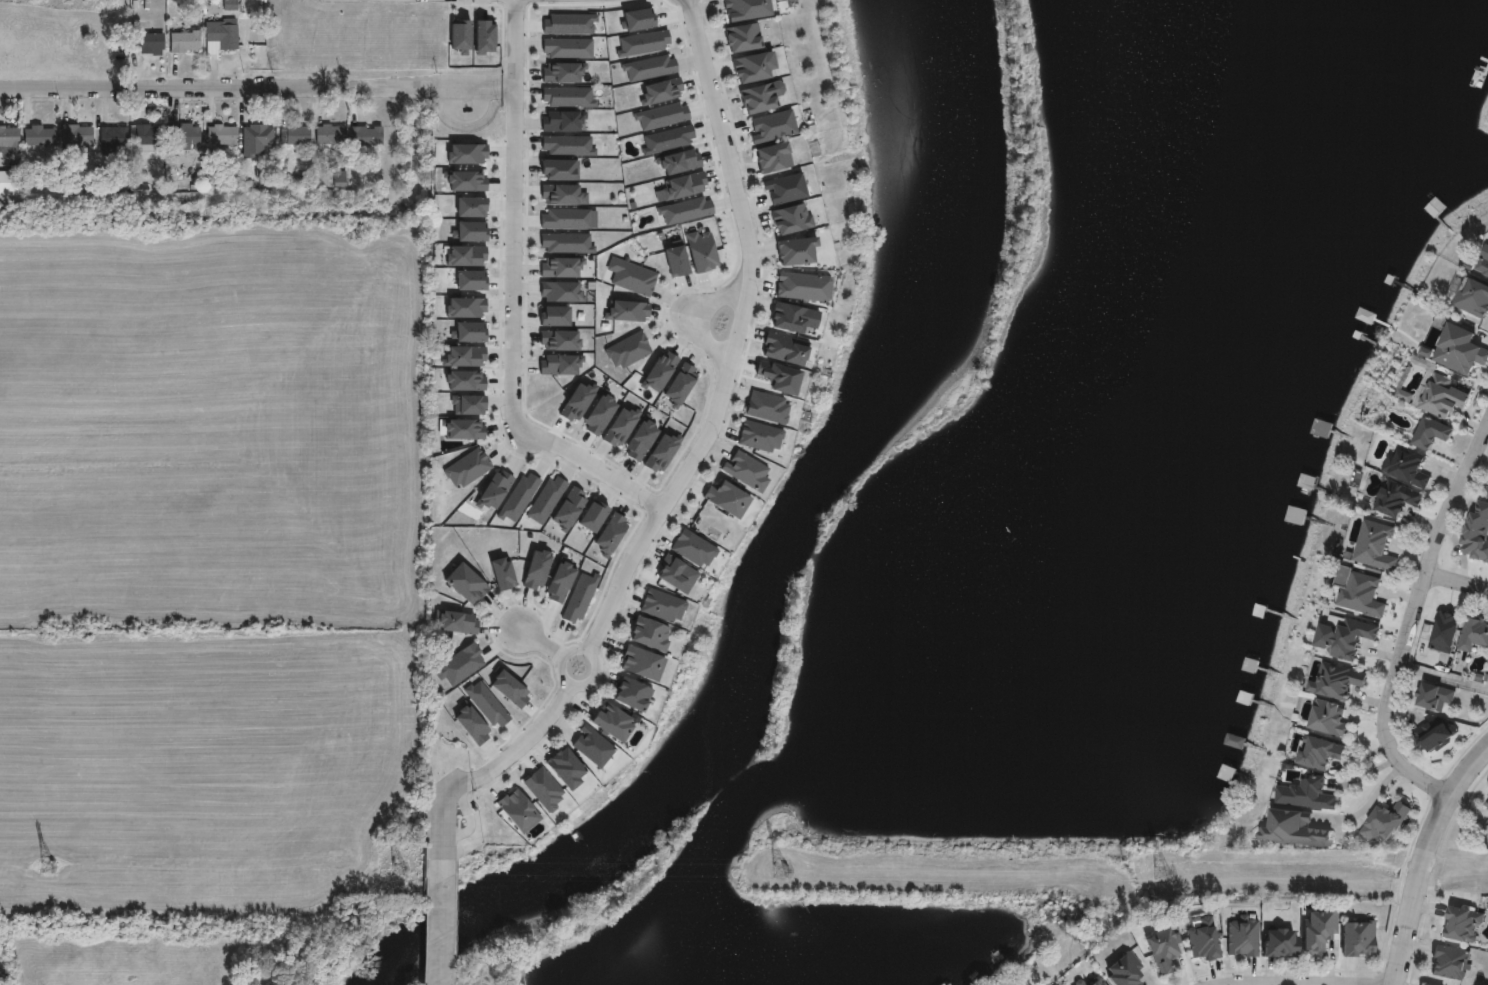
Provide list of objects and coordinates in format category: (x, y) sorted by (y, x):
building: (747, 9)
building: (221, 32)
building: (744, 38)
building: (183, 41)
building: (148, 42)
building: (644, 43)
building: (566, 48)
building: (650, 67)
building: (752, 69)
road: (232, 92)
road: (489, 92)
building: (569, 96)
building: (759, 99)
road: (464, 102)
building: (660, 116)
building: (563, 120)
building: (773, 127)
building: (295, 134)
building: (37, 135)
building: (145, 135)
building: (184, 135)
building: (220, 135)
building: (329, 135)
building: (364, 136)
building: (8, 137)
building: (73, 137)
building: (110, 137)
building: (254, 139)
building: (774, 158)
building: (557, 170)
building: (264, 172)
building: (339, 179)
building: (467, 181)
building: (685, 185)
building: (786, 190)
building: (1433, 207)
building: (685, 211)
building: (793, 219)
building: (472, 231)
building: (565, 244)
building: (702, 250)
building: (798, 253)
building: (676, 258)
building: (633, 279)
building: (800, 287)
building: (562, 291)
road: (515, 295)
building: (1472, 297)
road: (689, 313)
building: (789, 319)
building: (470, 331)
road: (736, 335)
building: (1459, 349)
building: (629, 350)
building: (775, 351)
building: (465, 356)
building: (1442, 396)
building: (466, 404)
building: (766, 407)
building: (464, 428)
building: (1431, 433)
building: (758, 435)
building: (638, 439)
building: (1407, 467)
building: (468, 468)
building: (746, 469)
building: (1307, 482)
building: (495, 490)
building: (726, 495)
building: (1397, 499)
building: (1295, 515)
building: (1477, 532)
building: (1375, 546)
building: (692, 548)
building: (498, 573)
building: (677, 573)
road: (1458, 579)
building: (562, 580)
building: (466, 581)
building: (1360, 592)
building: (663, 605)
road: (1413, 618)
building: (455, 622)
building: (1445, 631)
building: (651, 633)
building: (1473, 634)
building: (1344, 638)
road: (552, 639)
road: (588, 645)
building: (643, 663)
building: (1249, 665)
building: (1337, 681)
building: (632, 693)
building: (1433, 696)
building: (1329, 718)
building: (612, 720)
building: (1433, 734)
building: (594, 746)
building: (1319, 753)
building: (566, 767)
road: (486, 770)
building: (545, 789)
building: (1307, 794)
road: (1367, 804)
building: (518, 809)
building: (1386, 821)
building: (1295, 829)
road: (1420, 855)
power tower: (45, 867)
power tower: (399, 868)
power tower: (779, 870)
power tower: (1162, 871)
building: (1317, 930)
road: (440, 932)
building: (1242, 935)
building: (1358, 936)
building: (1202, 938)
river: (408, 940)
building: (1280, 942)
building: (1162, 948)
building: (1125, 970)
building: (1082, 980)
road: (1279, 983)

